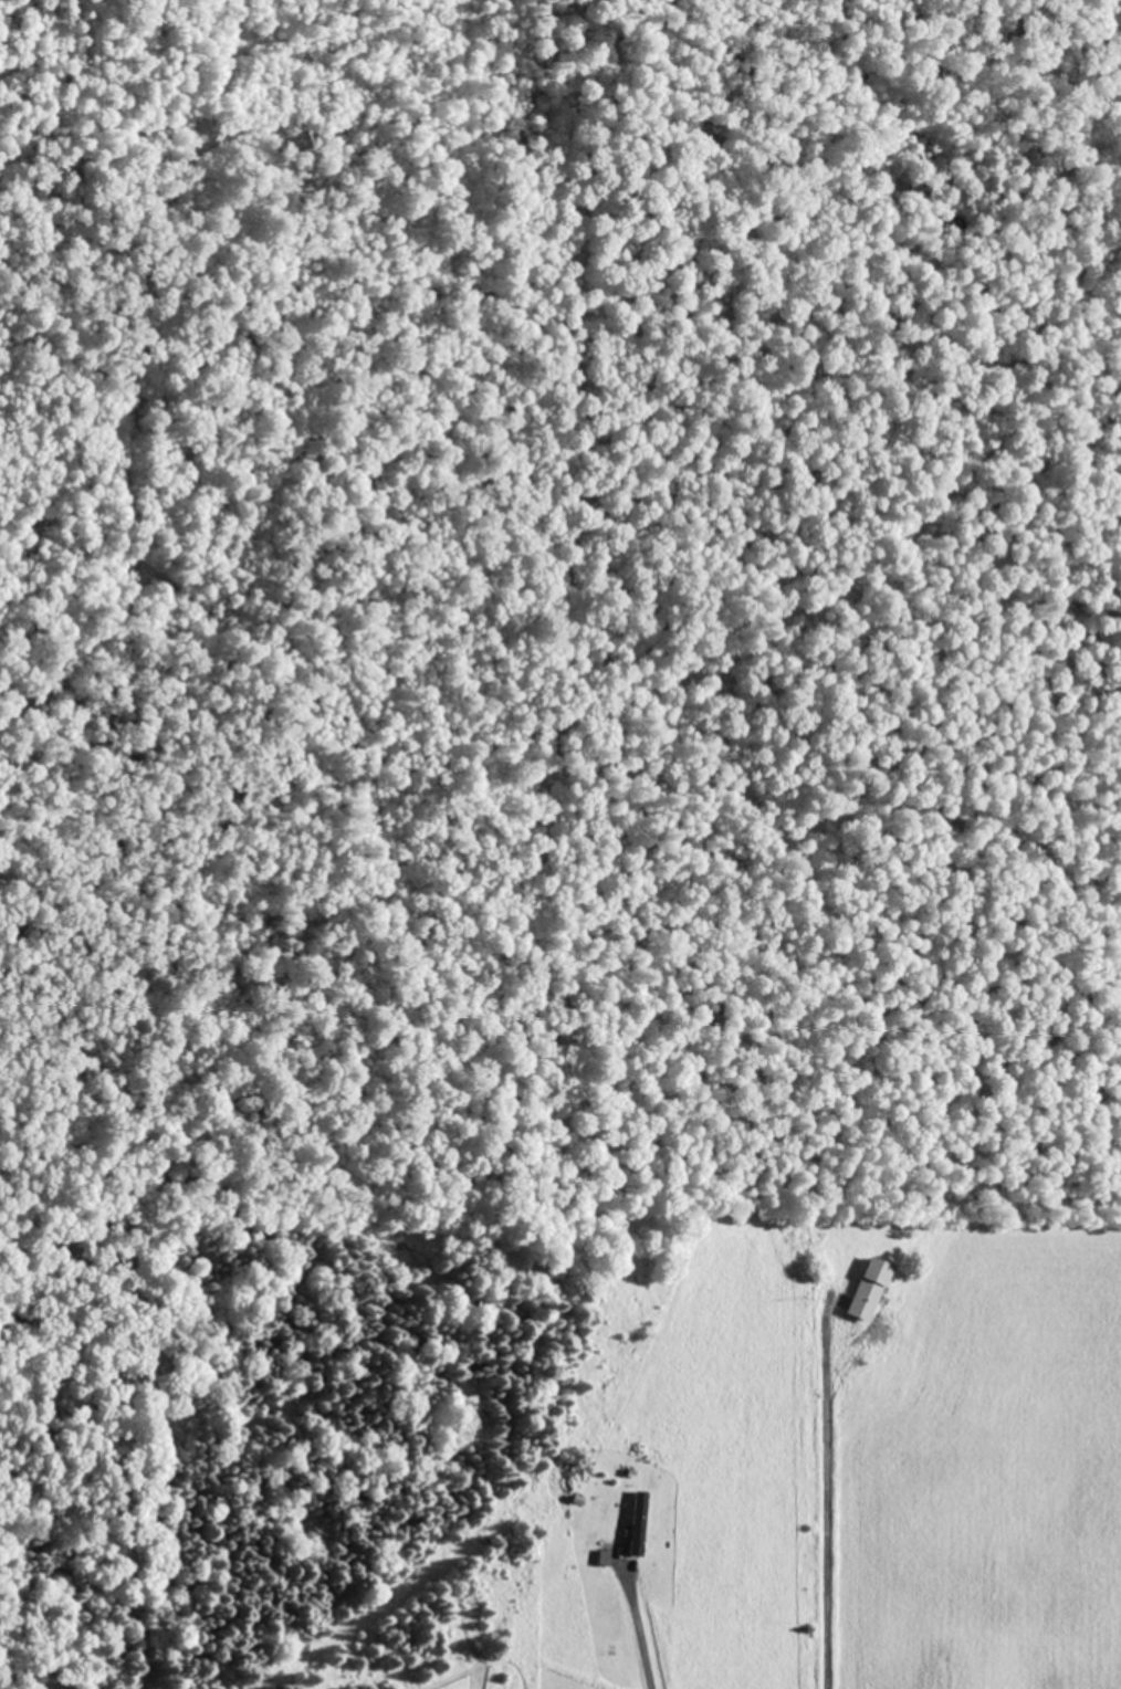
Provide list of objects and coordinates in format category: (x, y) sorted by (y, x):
building: (869, 1288)
building: (639, 1522)

